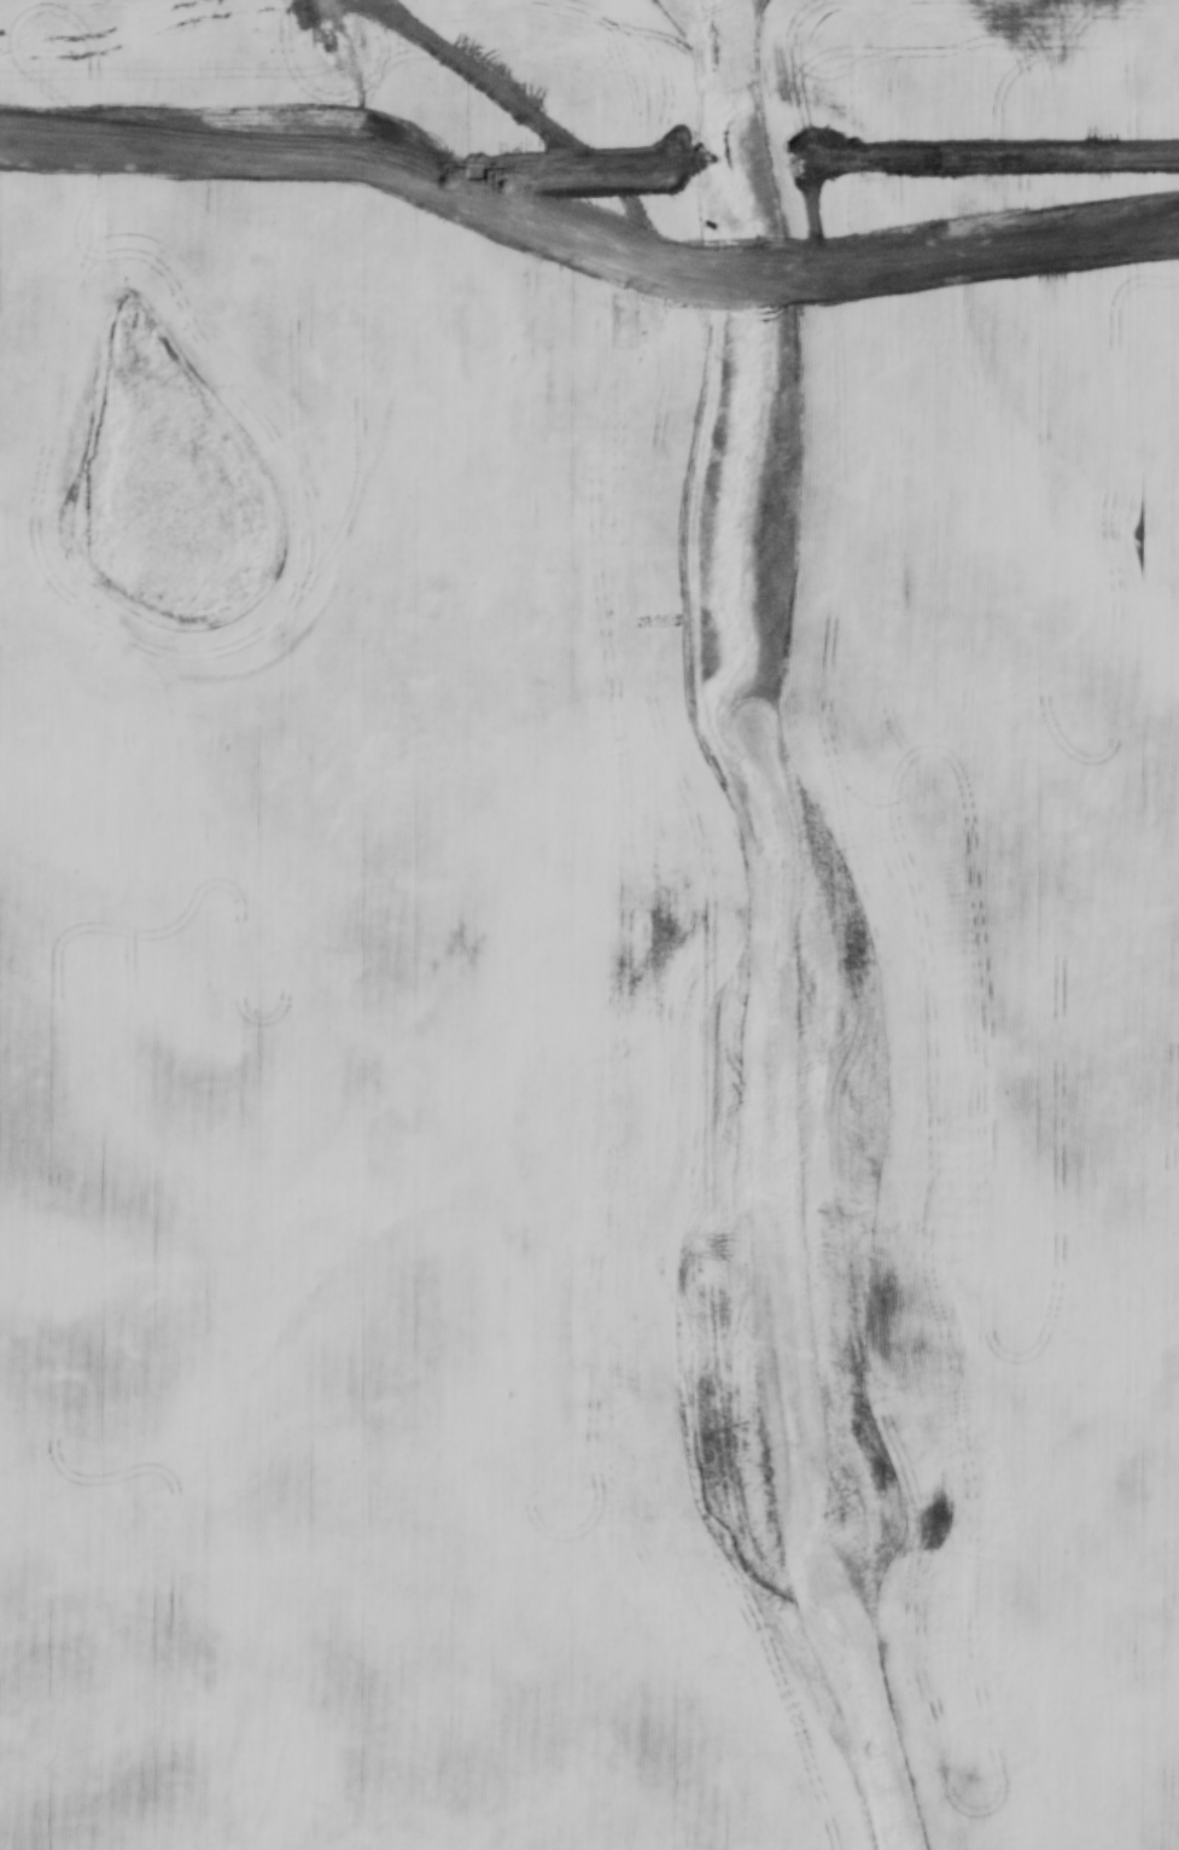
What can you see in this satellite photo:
road: (381, 149)

